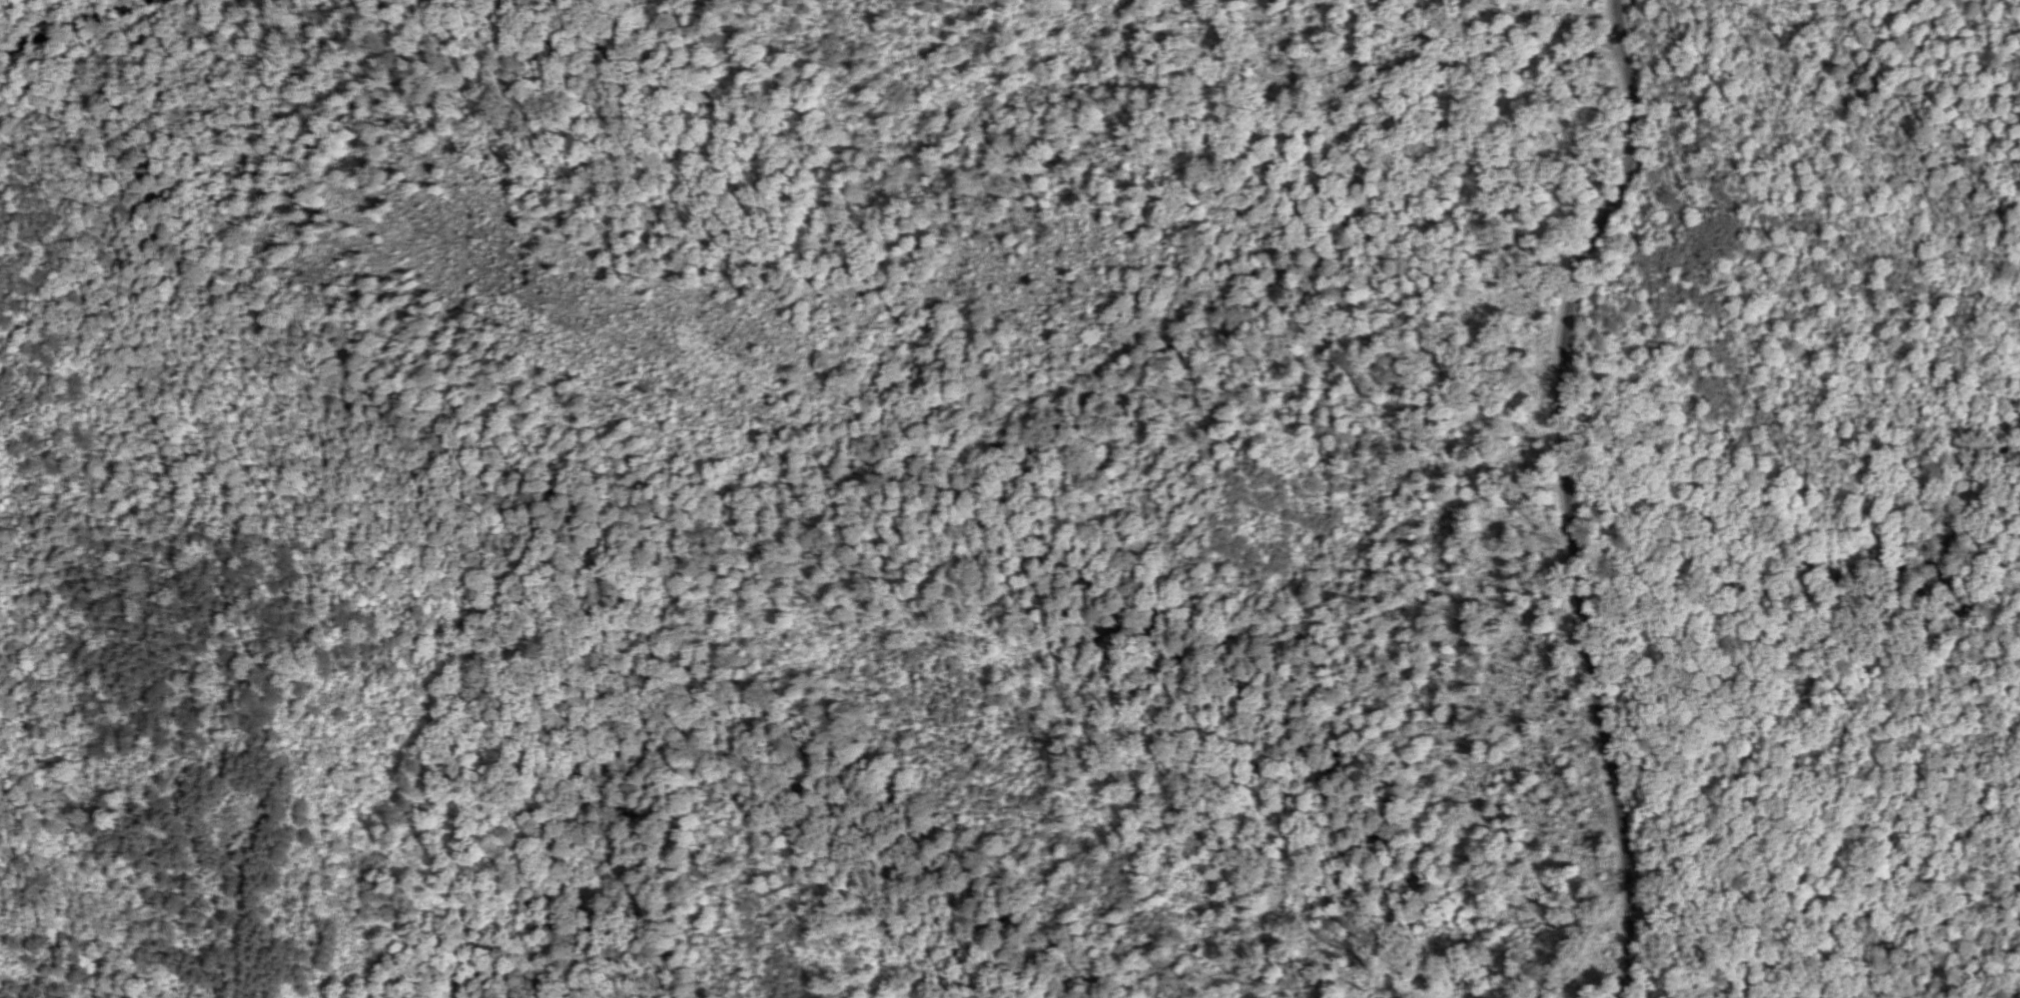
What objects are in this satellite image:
road: (1570, 494)

